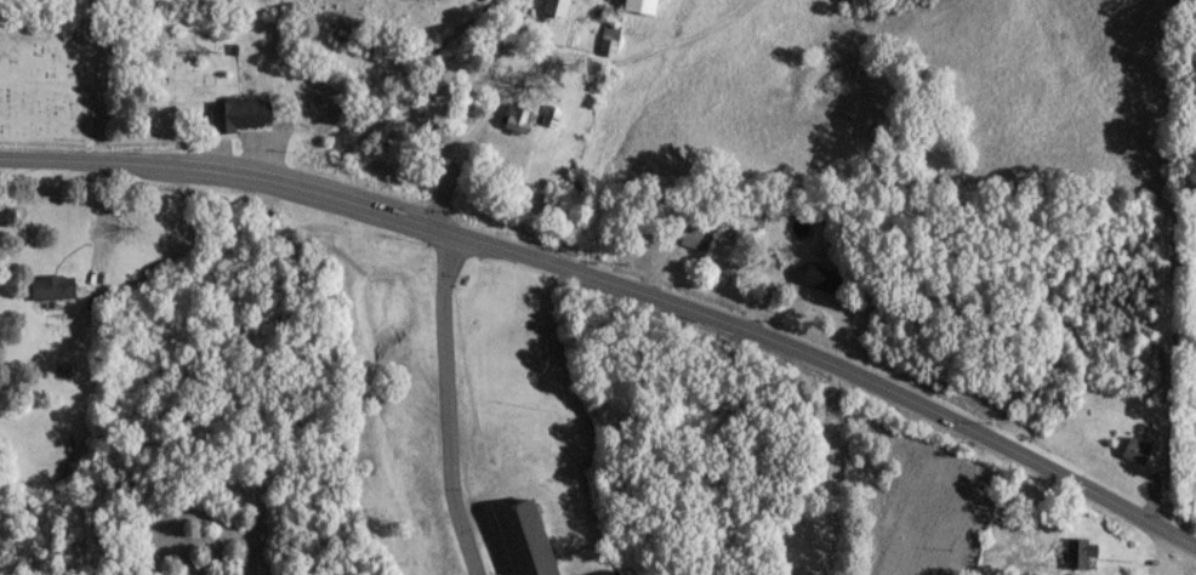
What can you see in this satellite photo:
building: (639, 5)
building: (553, 6)
building: (606, 36)
park: (41, 76)
road: (96, 78)
building: (240, 110)
building: (514, 115)
building: (694, 235)
building: (820, 277)
road: (619, 280)
building: (50, 284)
road: (444, 404)
road: (1189, 438)
building: (1134, 449)
road: (832, 471)
building: (524, 537)
building: (1078, 550)
road: (1180, 557)

